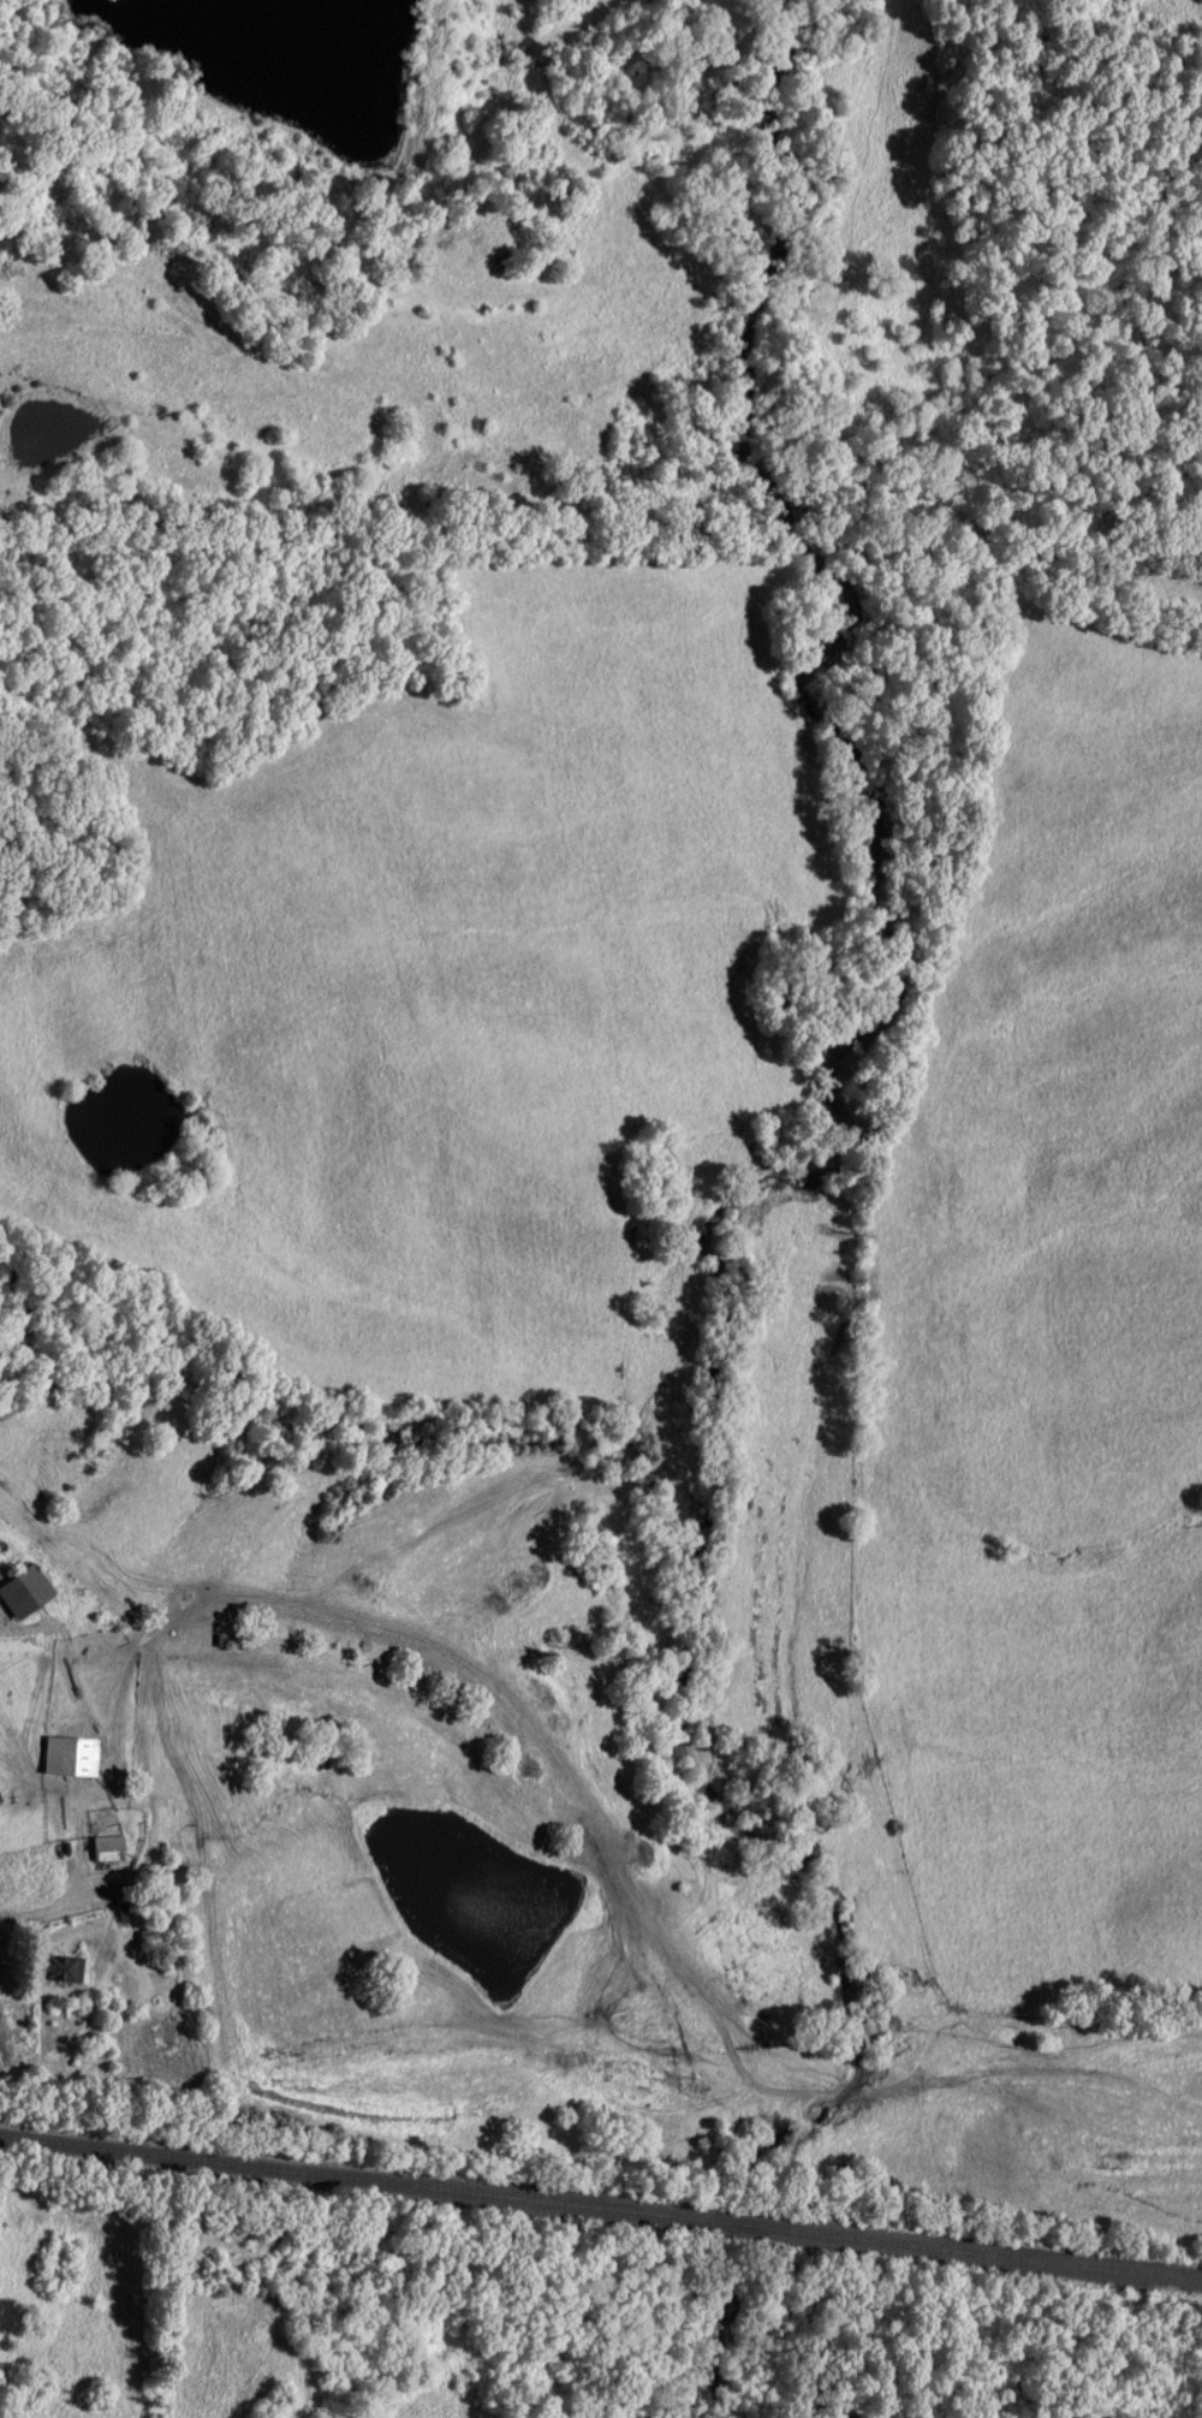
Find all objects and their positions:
building: (31, 1593)
building: (76, 1758)
building: (113, 1850)
building: (132, 1905)
road: (43, 1915)
building: (70, 1970)
railway: (600, 2208)

